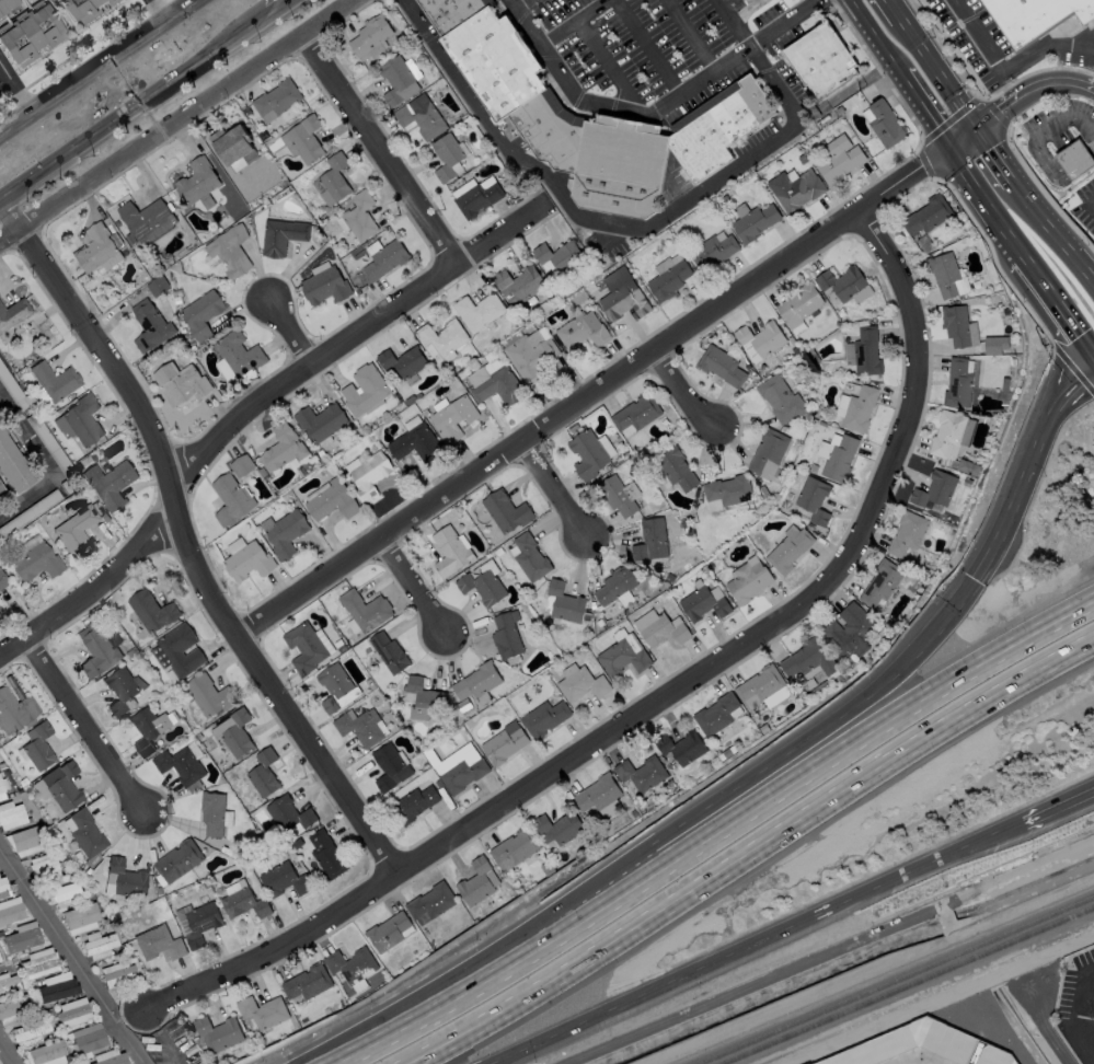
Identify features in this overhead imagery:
building: (748, 0)
road: (519, 3)
building: (9, 8)
building: (79, 9)
road: (287, 9)
road: (893, 10)
road: (159, 11)
road: (747, 11)
building: (1033, 18)
road: (569, 21)
road: (730, 22)
building: (370, 34)
building: (28, 35)
road: (690, 35)
road: (875, 37)
road: (648, 47)
building: (820, 62)
road: (608, 63)
road: (1006, 65)
road: (100, 69)
road: (937, 76)
building: (398, 80)
road: (18, 88)
road: (1029, 91)
building: (276, 100)
road: (137, 111)
road: (925, 112)
building: (734, 113)
road: (652, 114)
building: (421, 116)
road: (1066, 118)
road: (177, 122)
building: (885, 124)
traffic signals: (977, 131)
building: (303, 139)
road: (964, 140)
building: (231, 142)
road: (382, 148)
traffic signals: (951, 150)
building: (448, 157)
road: (994, 157)
building: (839, 159)
building: (1075, 163)
road: (1056, 175)
building: (334, 177)
building: (197, 181)
building: (795, 188)
building: (475, 196)
road: (984, 205)
building: (926, 215)
building: (359, 216)
building: (146, 220)
road: (606, 221)
building: (755, 222)
road: (1052, 234)
building: (281, 235)
building: (97, 251)
building: (230, 251)
building: (712, 252)
building: (558, 255)
building: (385, 259)
building: (944, 273)
building: (669, 277)
building: (519, 285)
building: (844, 285)
building: (157, 286)
building: (324, 286)
building: (622, 296)
building: (798, 307)
road: (1055, 308)
building: (479, 311)
building: (13, 313)
building: (201, 313)
building: (149, 324)
building: (955, 325)
building: (581, 329)
road: (291, 335)
building: (442, 336)
building: (760, 339)
building: (995, 344)
building: (866, 351)
building: (239, 354)
building: (531, 356)
building: (403, 361)
building: (722, 365)
building: (54, 380)
building: (181, 382)
building: (957, 383)
building: (498, 385)
building: (365, 390)
road: (683, 392)
road: (591, 394)
building: (781, 398)
building: (856, 408)
road: (250, 410)
building: (636, 413)
building: (453, 418)
building: (82, 420)
building: (320, 420)
building: (946, 435)
building: (415, 443)
building: (281, 448)
building: (768, 453)
building: (587, 454)
building: (837, 456)
road: (47, 460)
building: (241, 465)
building: (676, 467)
building: (967, 467)
building: (12, 469)
road: (1023, 470)
building: (369, 474)
building: (110, 484)
road: (558, 487)
building: (934, 489)
building: (726, 491)
building: (1, 494)
building: (618, 495)
building: (231, 499)
building: (813, 499)
building: (331, 501)
building: (506, 510)
building: (76, 531)
building: (286, 533)
building: (906, 535)
building: (650, 540)
road: (189, 543)
building: (790, 548)
building: (449, 551)
building: (530, 557)
building: (249, 562)
building: (35, 563)
building: (2, 580)
building: (747, 580)
traffic signals: (972, 581)
road: (416, 582)
building: (880, 582)
building: (614, 585)
building: (483, 587)
building: (703, 601)
building: (564, 602)
building: (0, 609)
building: (365, 609)
building: (151, 611)
building: (659, 627)
building: (849, 629)
building: (506, 635)
building: (304, 647)
building: (180, 649)
building: (96, 651)
building: (389, 652)
building: (623, 654)
building: (808, 659)
building: (476, 681)
building: (581, 683)
building: (759, 686)
building: (336, 687)
building: (122, 689)
building: (208, 695)
building: (421, 697)
road: (663, 698)
building: (14, 710)
building: (715, 714)
building: (544, 717)
road: (90, 726)
building: (361, 727)
building: (148, 728)
road: (824, 728)
building: (237, 733)
building: (504, 744)
building: (38, 745)
building: (680, 747)
building: (180, 765)
building: (391, 766)
building: (263, 773)
building: (641, 773)
building: (462, 775)
building: (61, 785)
building: (2, 787)
building: (600, 796)
building: (414, 803)
road: (1060, 810)
building: (211, 812)
building: (289, 813)
building: (11, 814)
building: (557, 828)
building: (85, 832)
road: (716, 834)
building: (27, 837)
building: (514, 848)
building: (327, 853)
road: (749, 857)
building: (179, 860)
building: (44, 867)
building: (127, 878)
building: (284, 880)
building: (475, 882)
building: (3, 888)
building: (64, 893)
building: (245, 903)
building: (430, 903)
building: (11, 910)
building: (80, 917)
building: (201, 923)
railway: (1040, 923)
building: (389, 932)
railway: (1045, 932)
building: (22, 937)
building: (159, 942)
building: (99, 945)
road: (763, 945)
railway: (975, 952)
road: (475, 958)
road: (70, 960)
railway: (980, 960)
building: (0, 961)
building: (39, 963)
building: (352, 964)
building: (116, 973)
building: (7, 982)
building: (307, 982)
building: (57, 986)
building: (14, 1008)
railway: (833, 1010)
building: (73, 1011)
building: (263, 1011)
railway: (849, 1015)
road: (1092, 1028)
building: (219, 1032)
building: (30, 1036)
building: (89, 1038)
building: (907, 1042)
road: (8, 1051)
building: (46, 1051)
building: (994, 1054)
building: (113, 1060)

